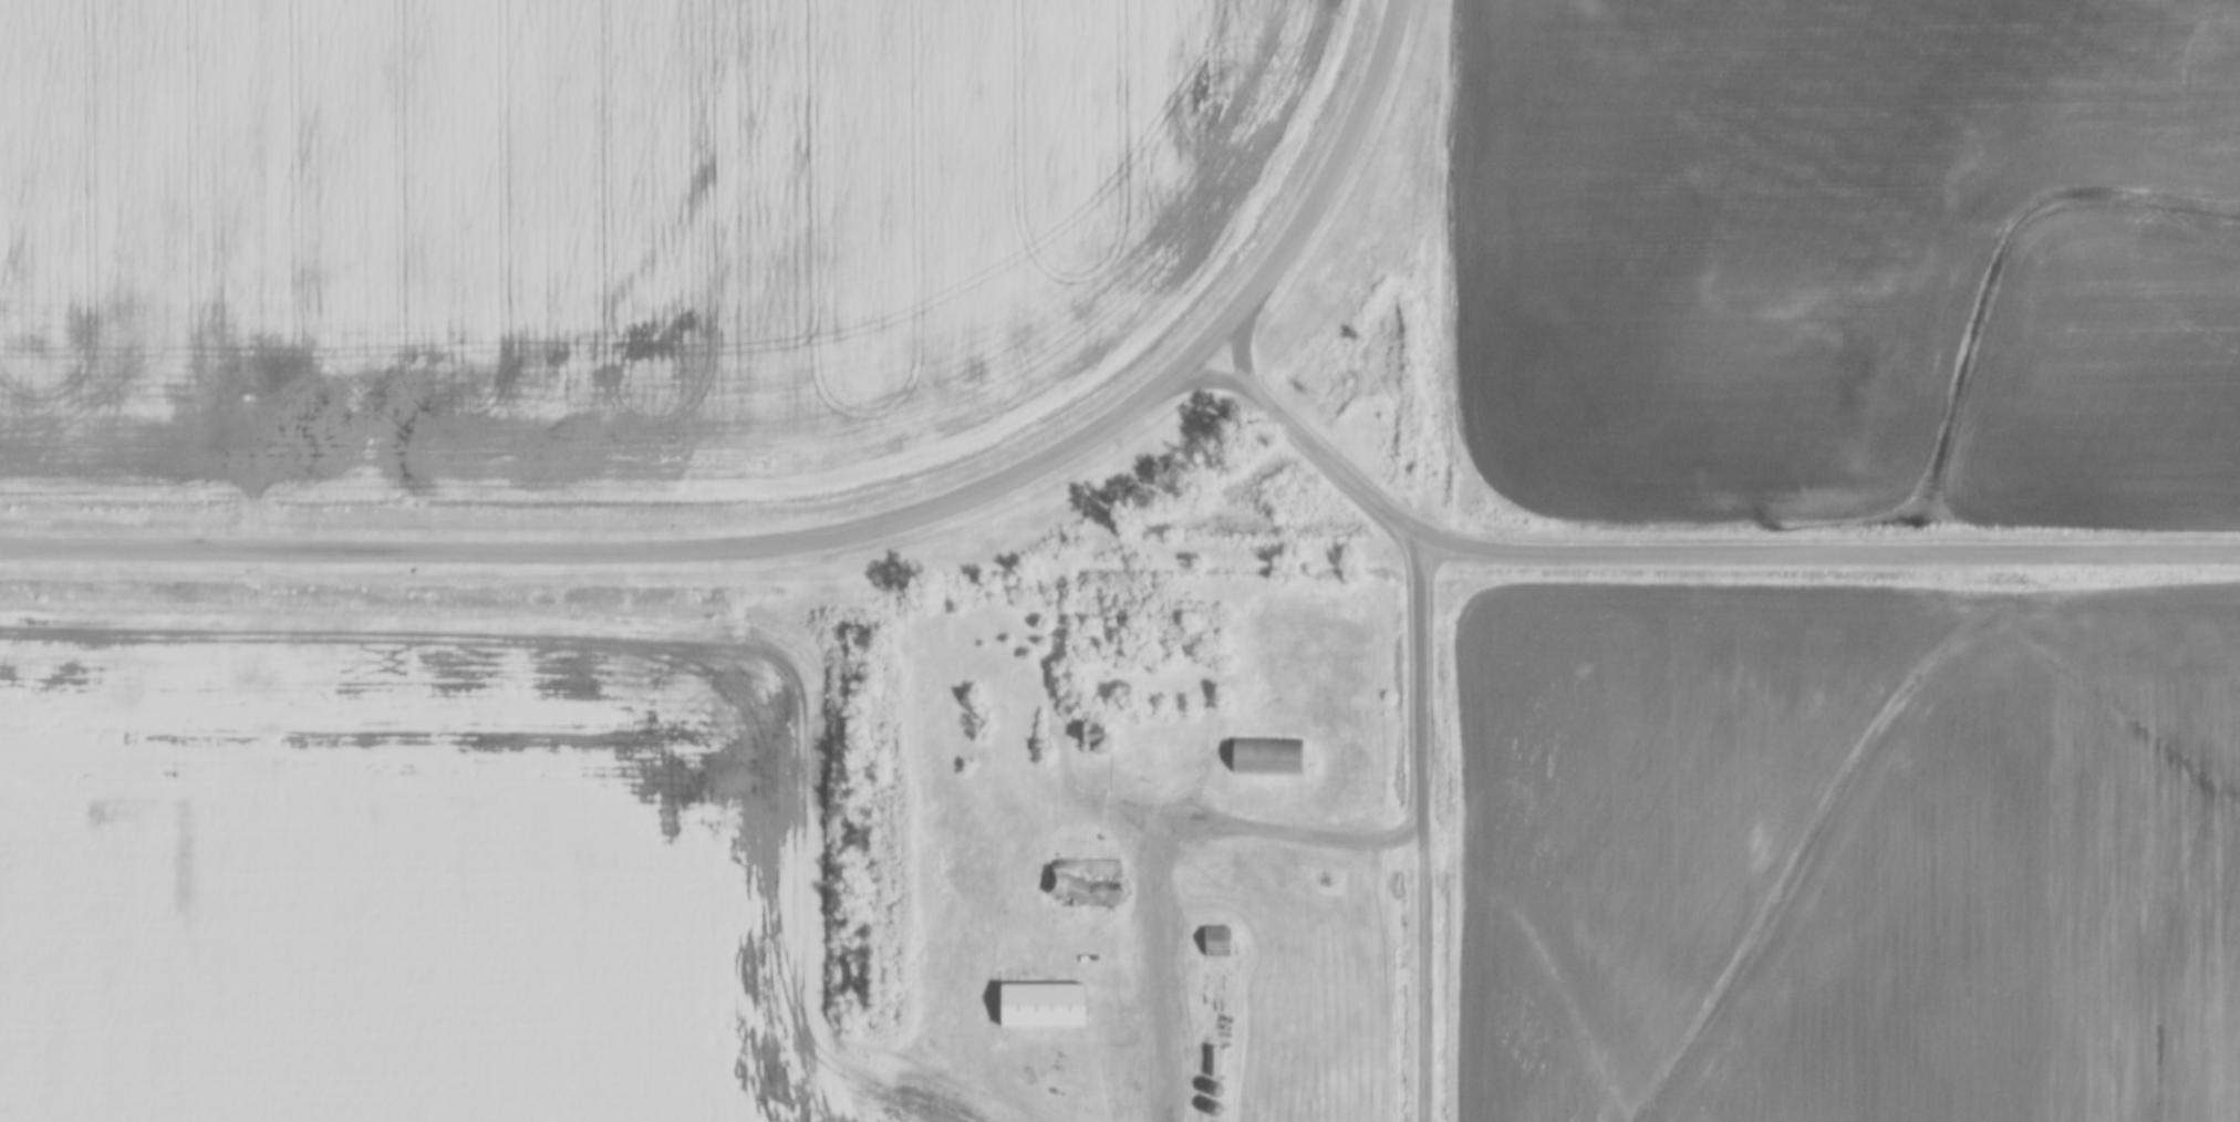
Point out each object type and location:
road: (1327, 186)
road: (630, 551)
road: (1688, 551)
road: (1422, 664)
building: (1091, 719)
building: (1087, 734)
building: (1269, 745)
road: (1158, 845)
building: (1085, 862)
building: (1218, 929)
road: (1424, 970)
building: (1043, 994)
building: (1214, 1049)
building: (1213, 1078)
silo: (1213, 1078)
building: (1213, 1097)
silo: (1213, 1097)

